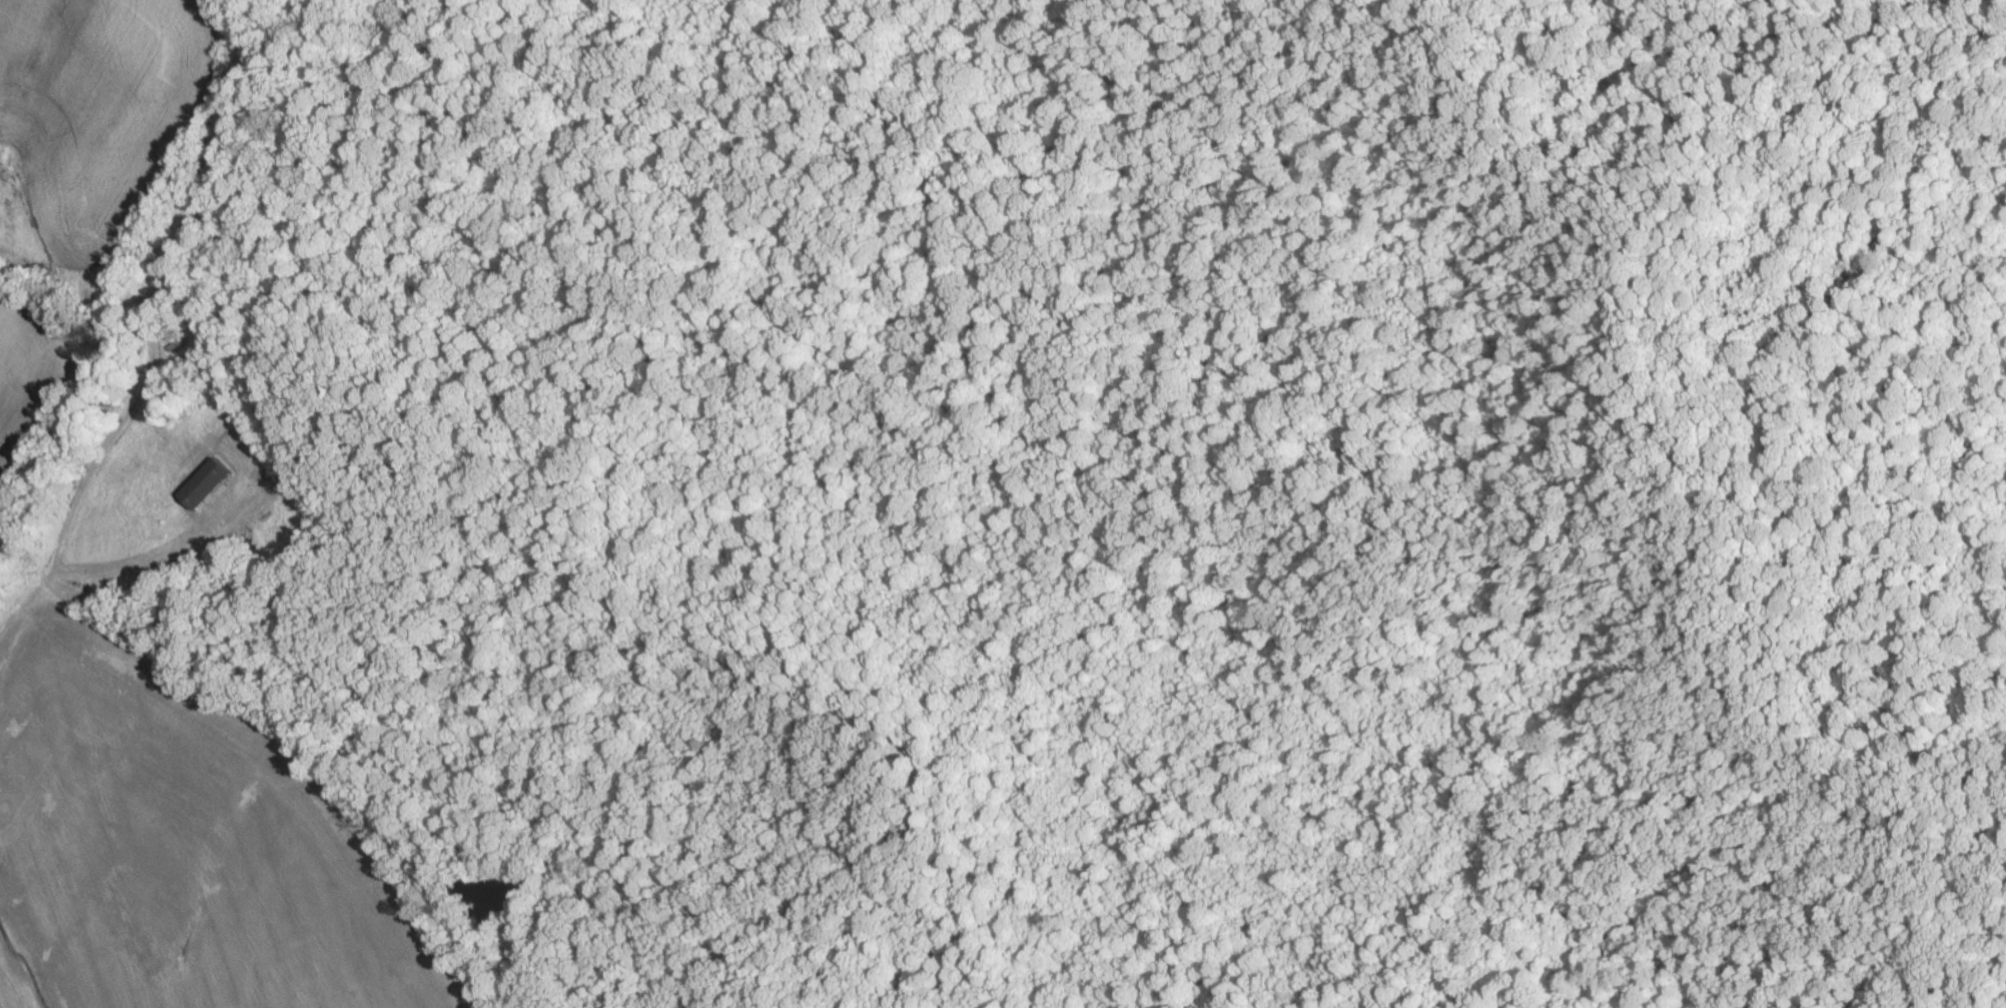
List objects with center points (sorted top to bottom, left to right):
building: (203, 486)

